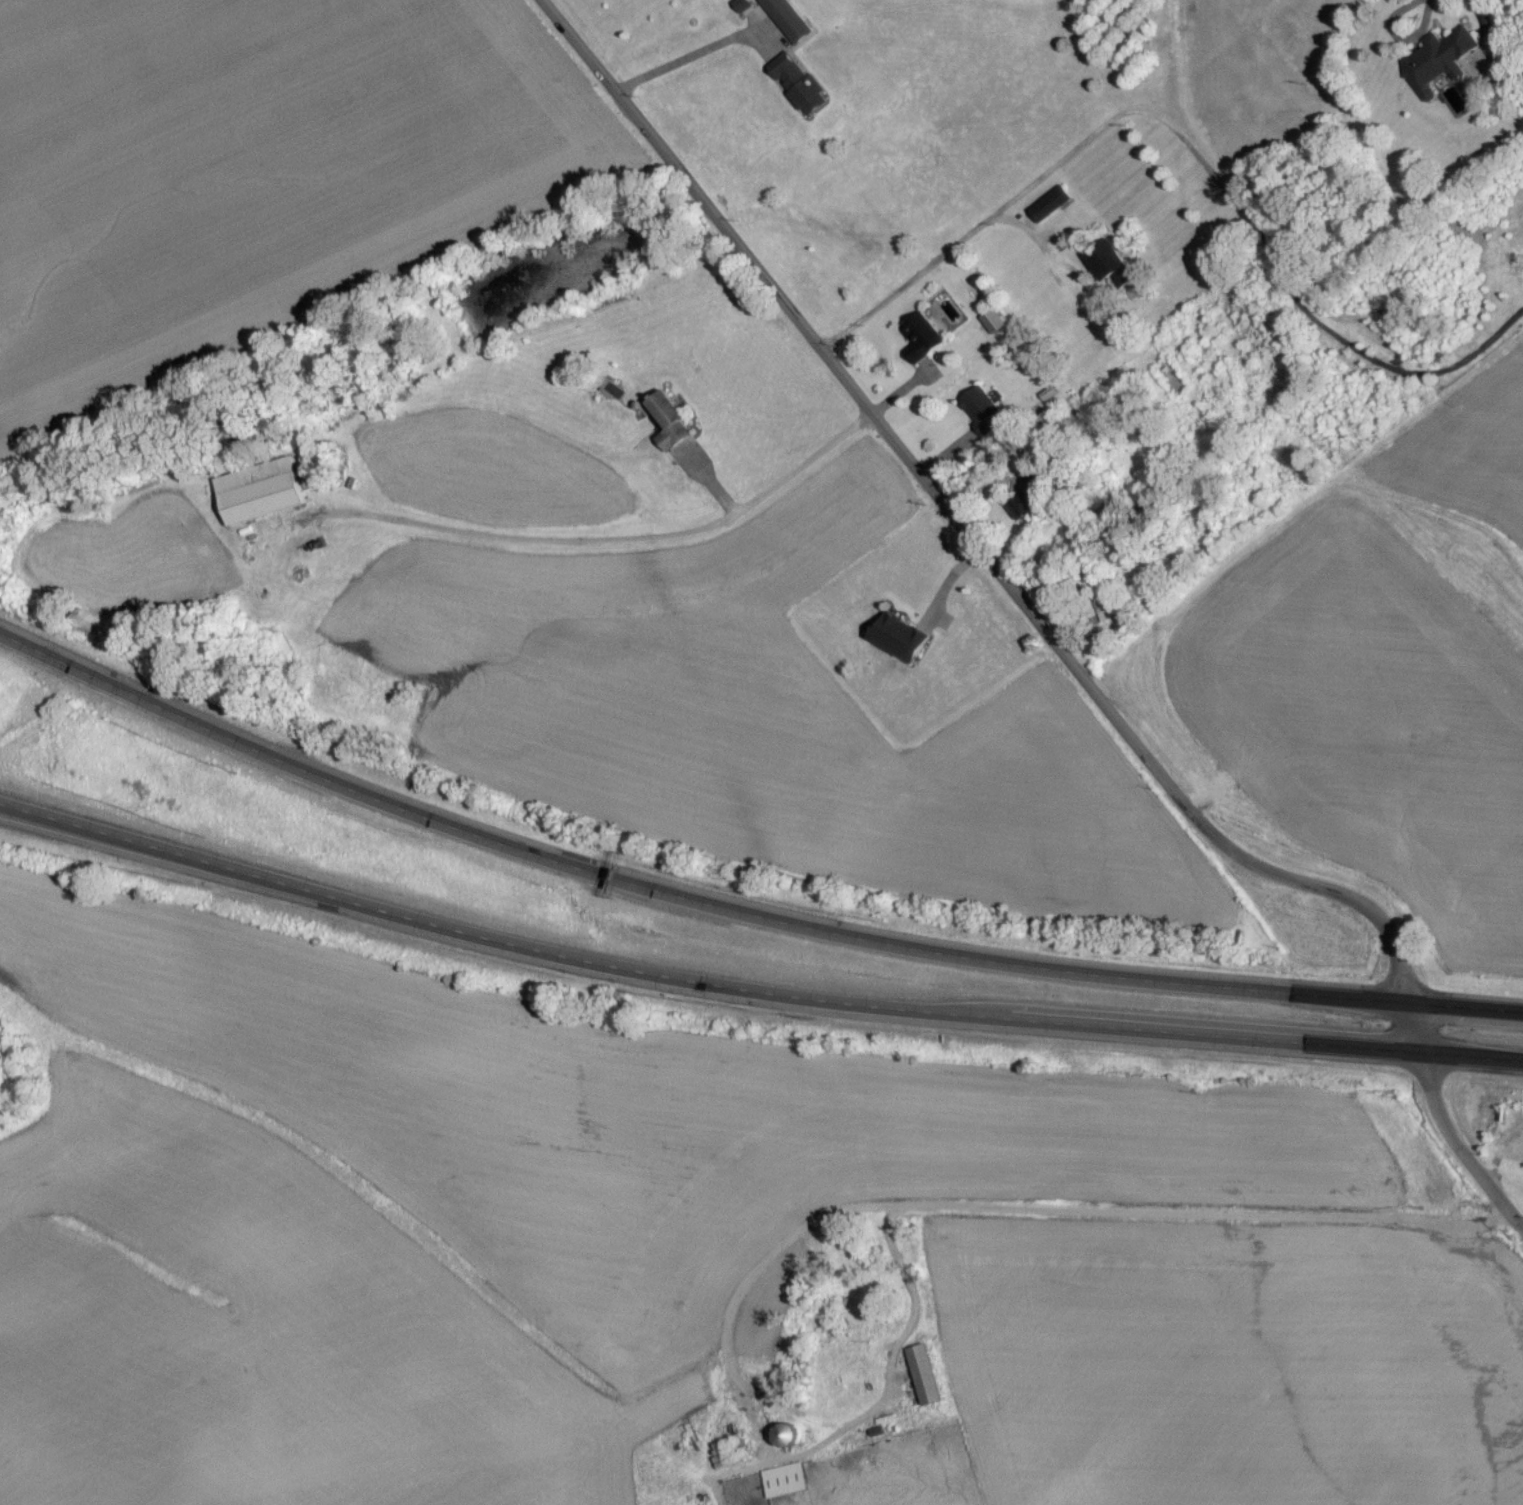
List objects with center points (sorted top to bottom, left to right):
road: (1473, 8)
road: (1396, 42)
road: (1491, 49)
road: (695, 57)
building: (1437, 67)
building: (796, 90)
building: (1050, 210)
road: (1254, 223)
road: (932, 260)
building: (1109, 269)
building: (992, 327)
building: (920, 343)
road: (908, 384)
building: (1170, 384)
building: (981, 416)
building: (667, 427)
road: (947, 458)
road: (707, 483)
building: (258, 497)
building: (1027, 506)
road: (591, 541)
road: (976, 549)
road: (948, 584)
building: (1104, 603)
building: (898, 645)
road: (1342, 752)
road: (681, 900)
road: (698, 988)
road: (1463, 1010)
road: (1470, 1058)
road: (1456, 1152)
road: (1216, 1216)
building: (923, 1380)
road: (775, 1407)
road: (766, 1455)
building: (783, 1486)

